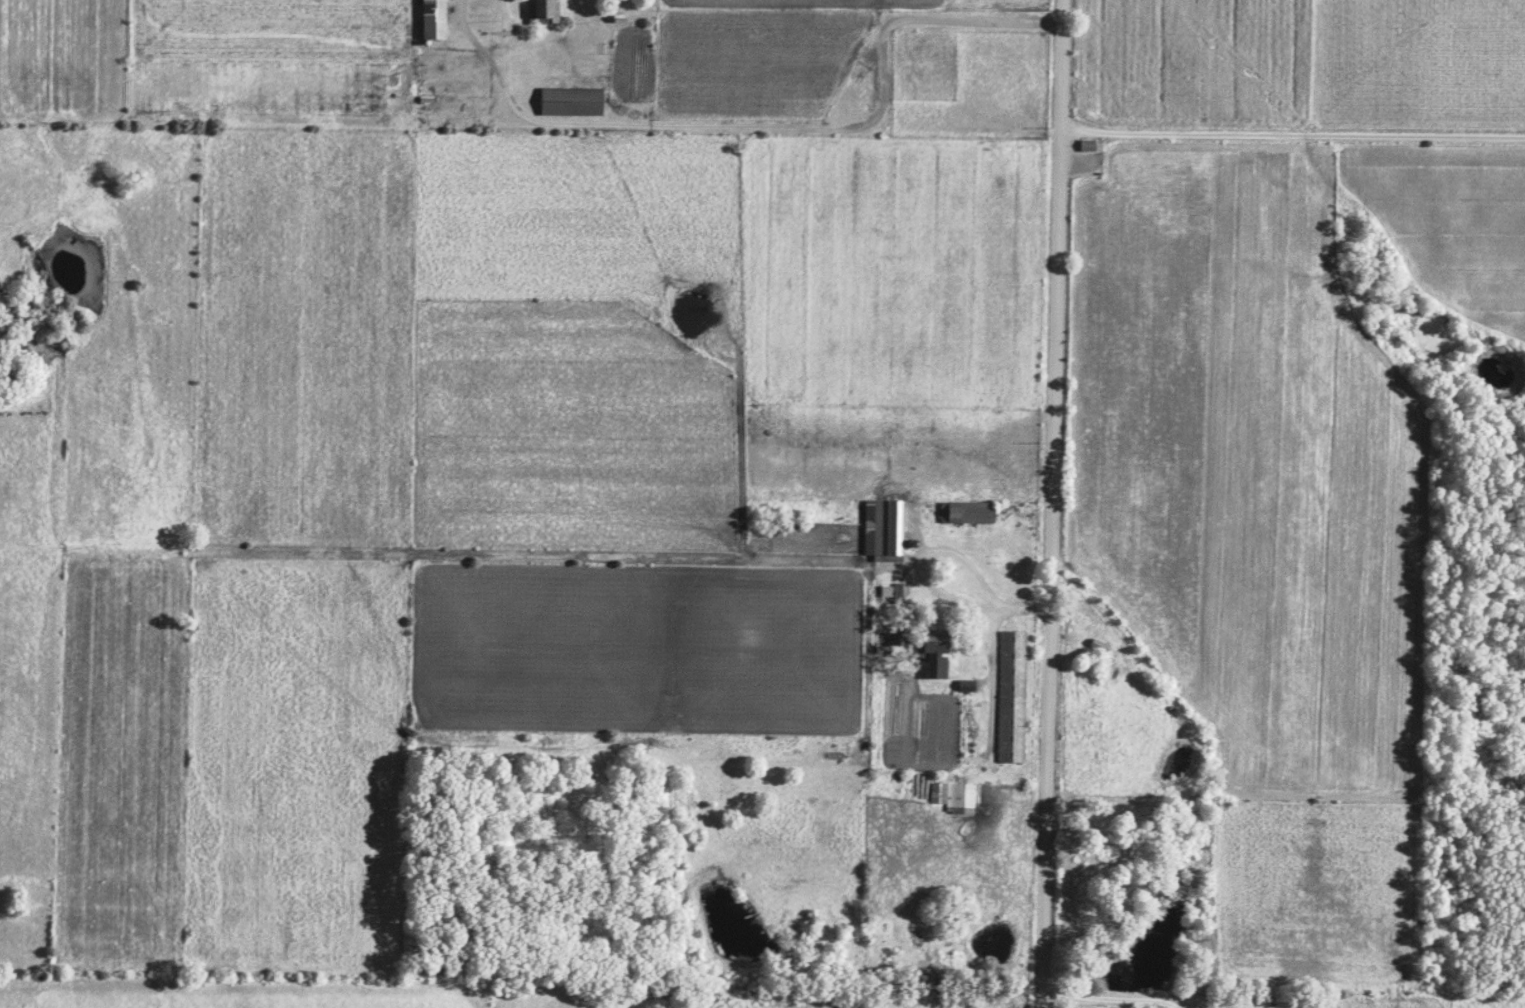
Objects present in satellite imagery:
building: (543, 12)
building: (433, 20)
road: (507, 38)
road: (477, 41)
park: (923, 65)
building: (571, 103)
road: (813, 129)
road: (1289, 135)
building: (1088, 147)
road: (1048, 504)
building: (967, 514)
road: (497, 555)
road: (942, 600)
road: (987, 649)
building: (966, 687)
building: (1013, 698)
building: (955, 798)
road: (1103, 999)

